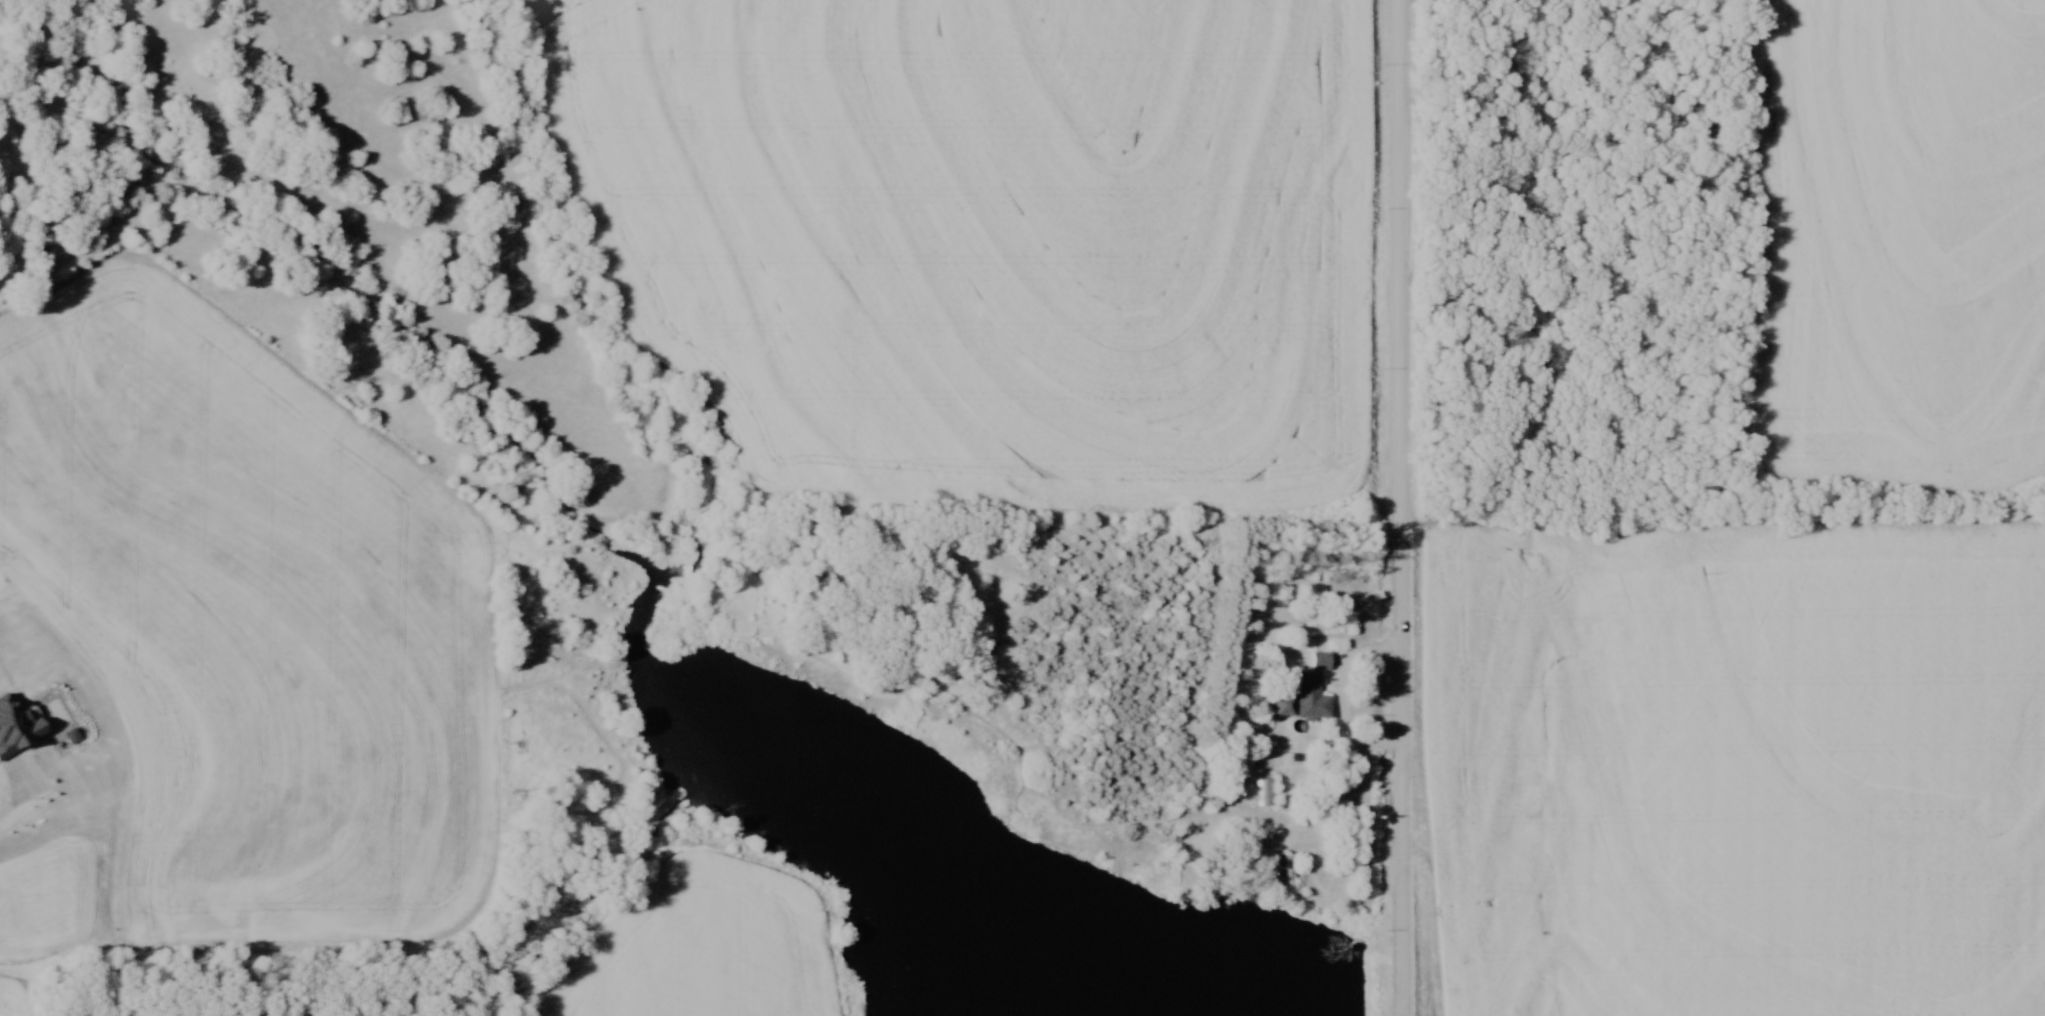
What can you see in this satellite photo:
road: (1400, 508)
road: (1344, 703)
building: (1263, 792)
building: (1278, 868)

